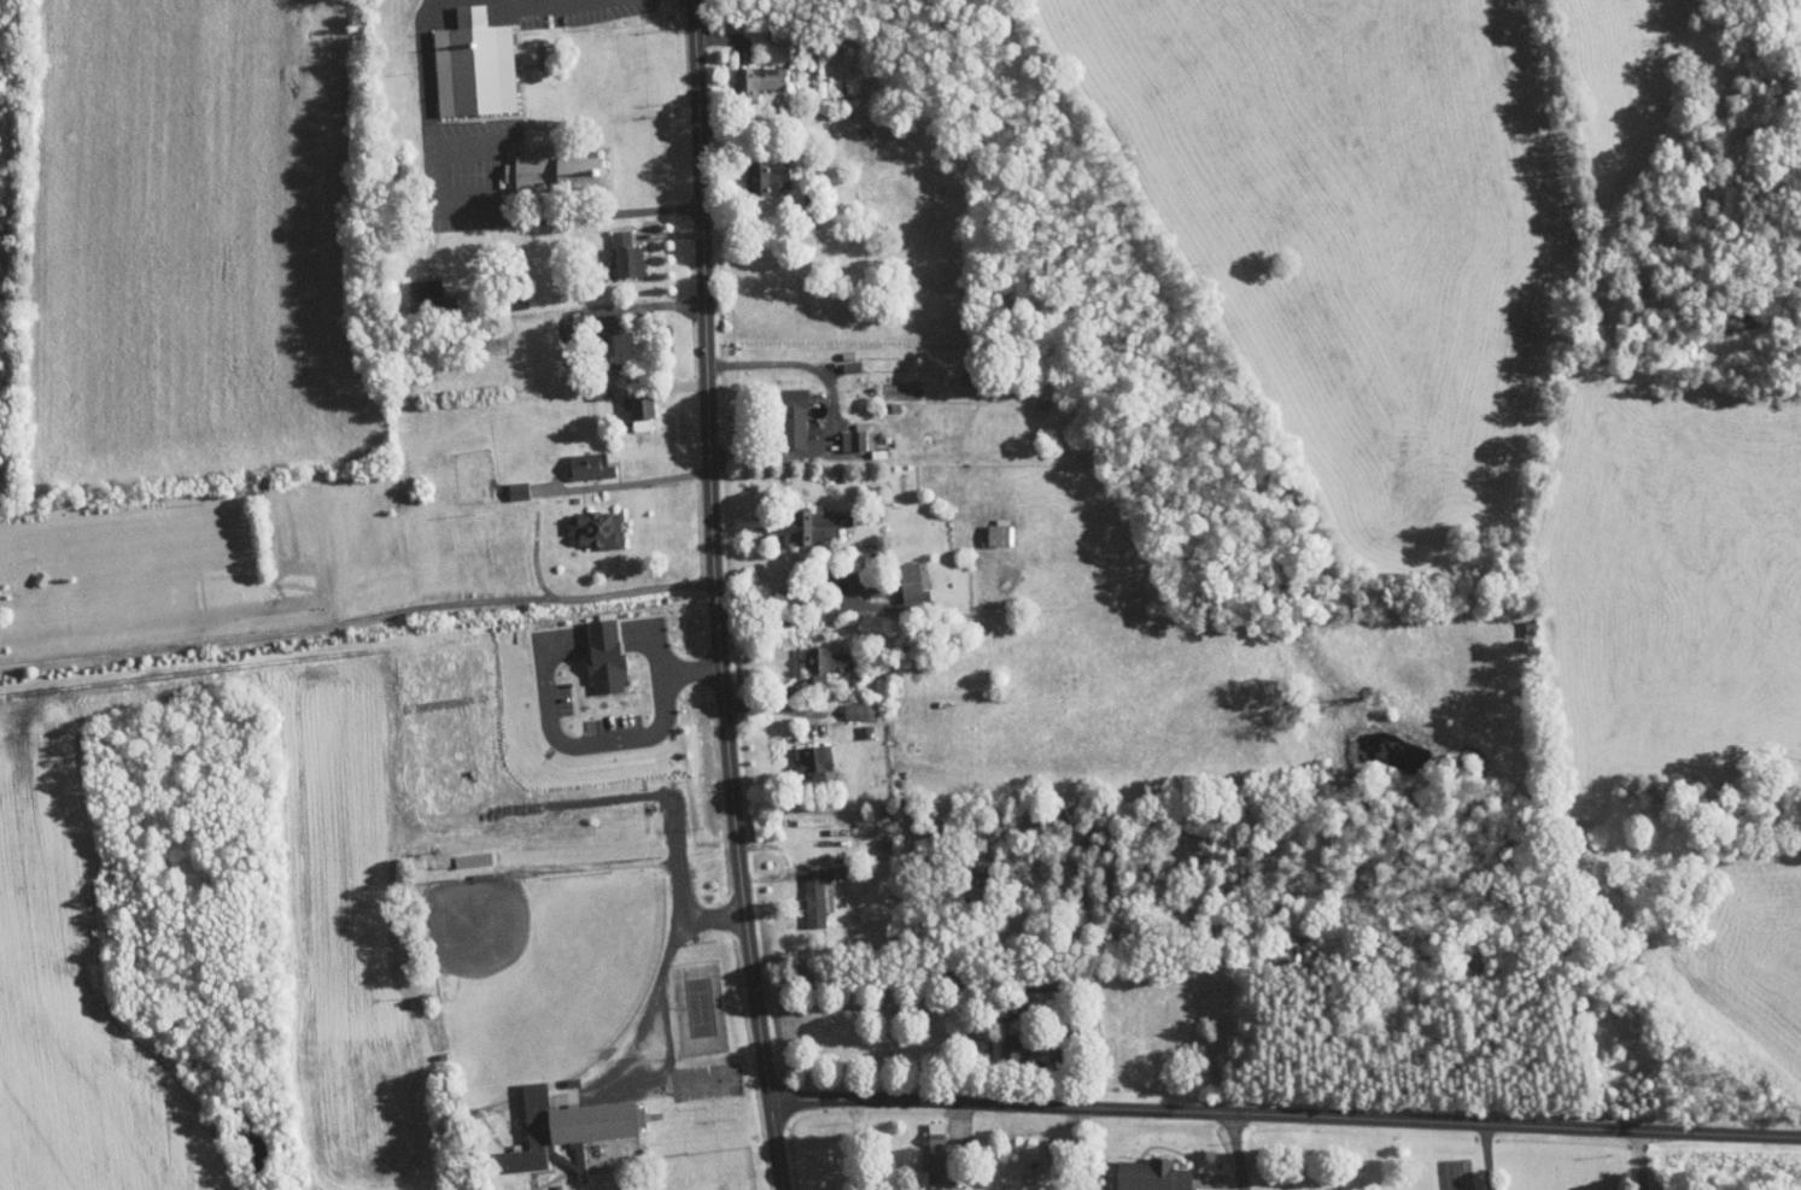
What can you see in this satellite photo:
road: (495, 0)
building: (461, 59)
building: (591, 59)
building: (745, 74)
road: (726, 83)
building: (540, 164)
building: (758, 171)
road: (733, 182)
road: (468, 199)
road: (663, 228)
building: (613, 248)
building: (413, 286)
road: (642, 304)
building: (614, 339)
road: (800, 360)
road: (676, 398)
building: (628, 405)
building: (779, 410)
building: (846, 429)
road: (695, 455)
building: (577, 457)
building: (504, 482)
building: (800, 518)
building: (581, 520)
road: (654, 521)
building: (986, 524)
road: (764, 532)
building: (901, 574)
road: (853, 588)
road: (714, 596)
road: (357, 615)
building: (591, 646)
building: (813, 653)
road: (776, 681)
building: (846, 702)
road: (774, 723)
road: (615, 735)
building: (802, 751)
building: (801, 890)
road: (779, 898)
road: (650, 1014)
building: (995, 1039)
road: (820, 1049)
road: (590, 1078)
building: (555, 1116)
road: (1285, 1116)
building: (925, 1148)
road: (1300, 1148)
road: (853, 1149)
road: (1236, 1153)
road: (1449, 1156)
road: (1637, 1160)
road: (590, 1166)
building: (1139, 1168)
road: (1217, 1182)
building: (470, 1189)

